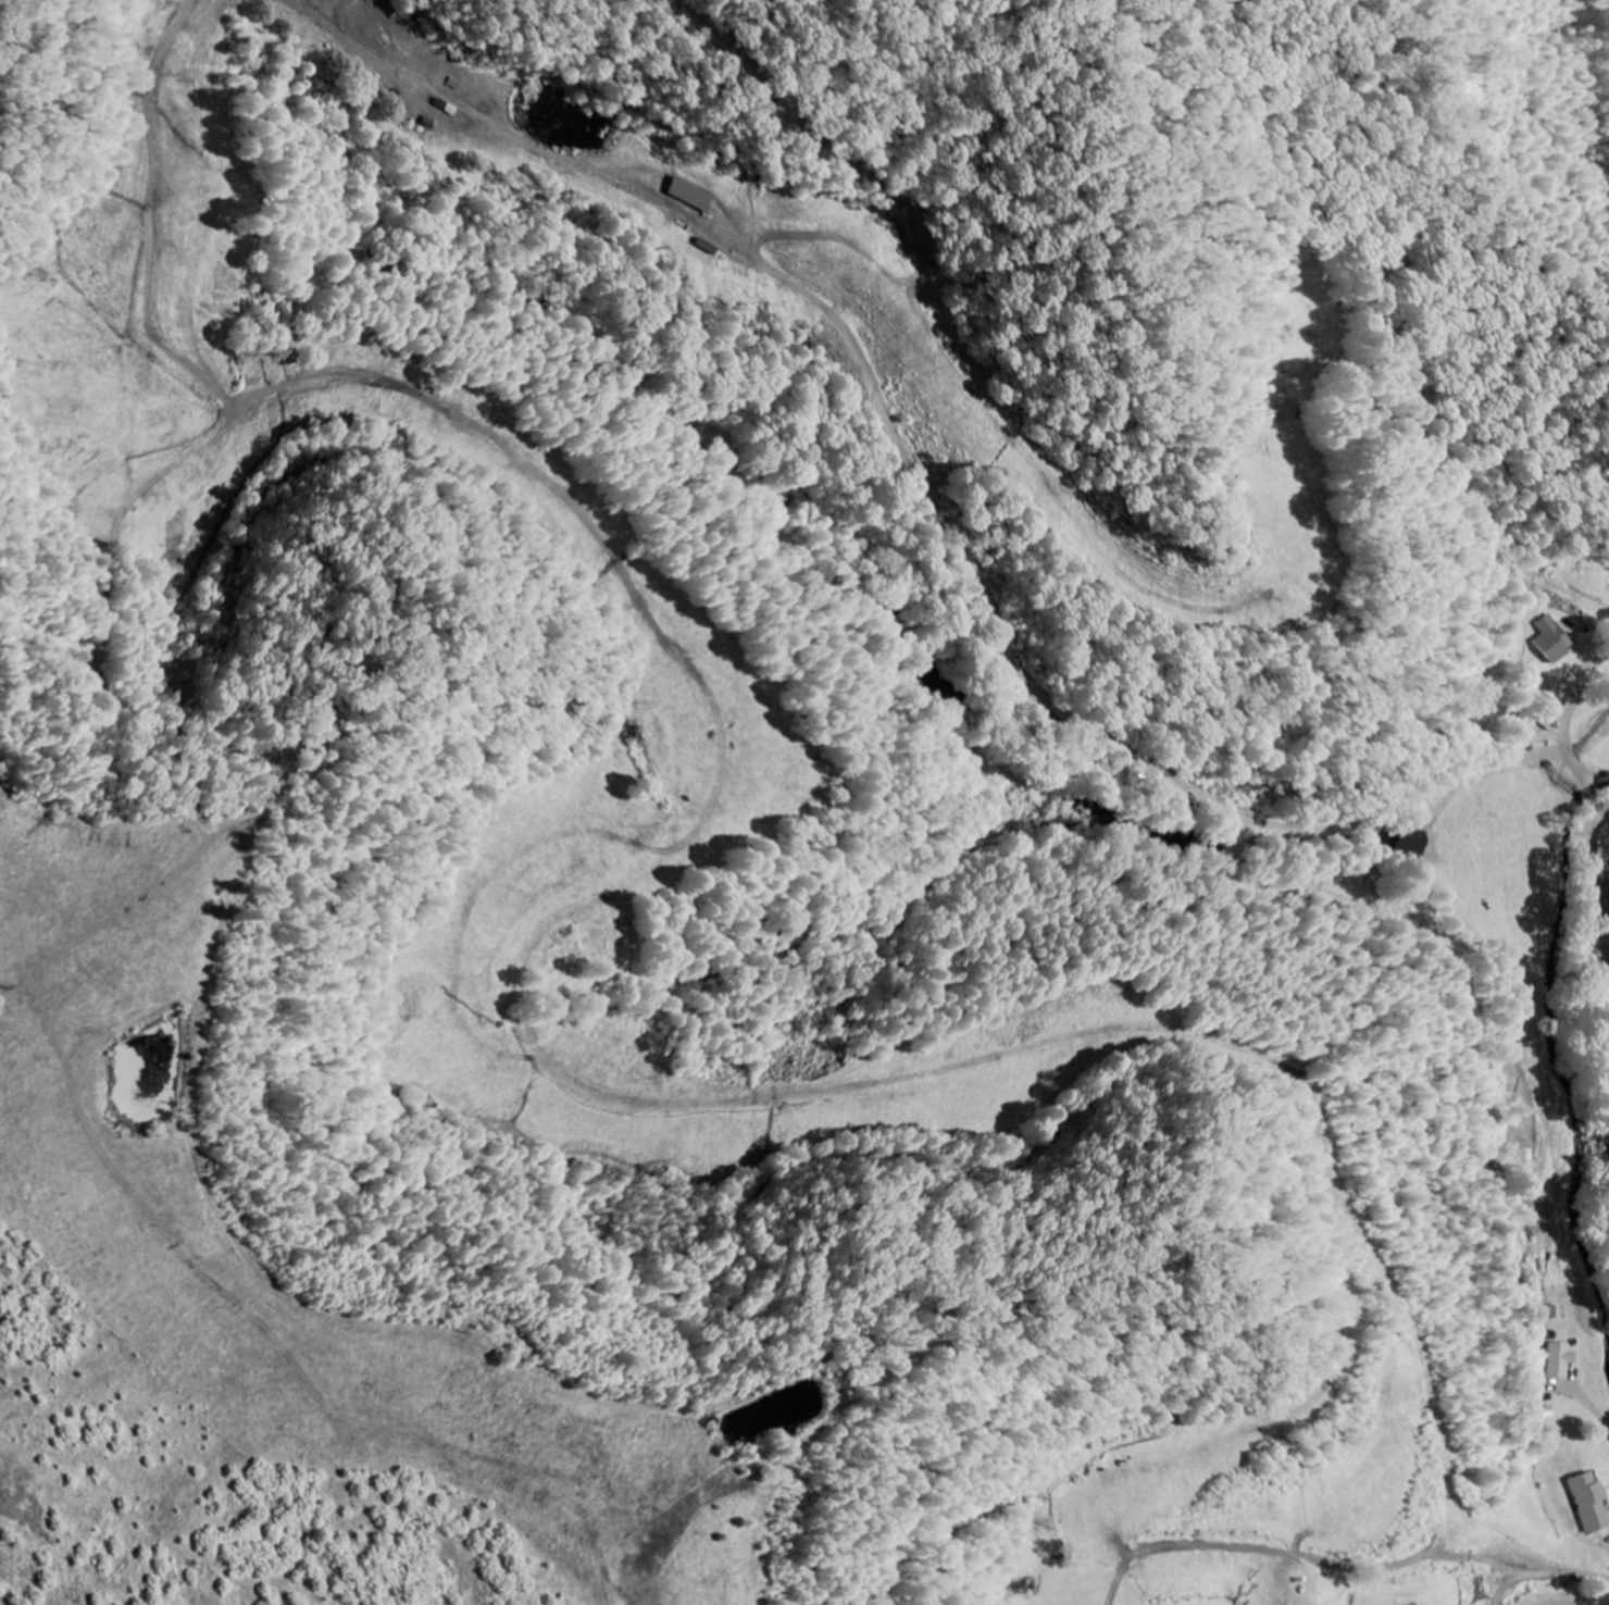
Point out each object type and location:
building: (687, 196)
building: (1552, 642)
road: (1574, 760)
building: (1409, 847)
building: (1550, 1312)
building: (1558, 1360)
building: (1588, 1503)

